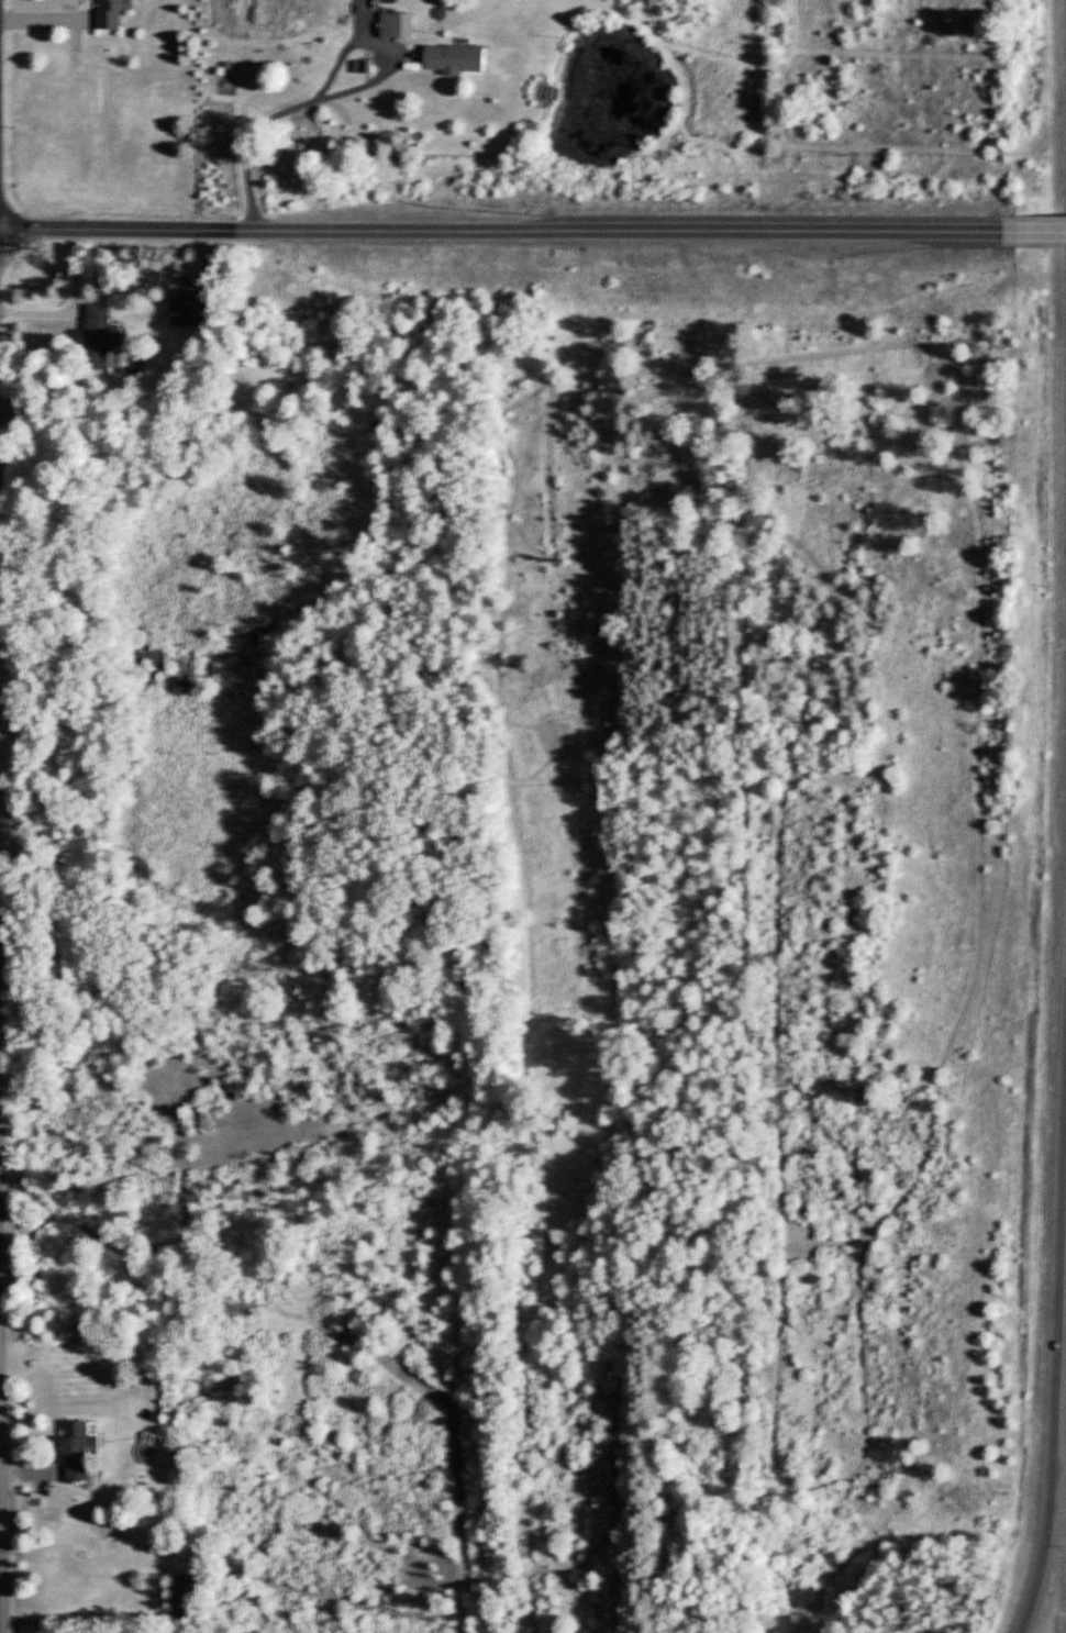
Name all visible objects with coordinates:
building: (110, 14)
building: (393, 25)
building: (457, 59)
road: (279, 112)
road: (495, 227)
road: (1028, 230)
building: (185, 308)
building: (98, 335)
road: (1056, 1290)
building: (80, 1448)
building: (188, 1599)

